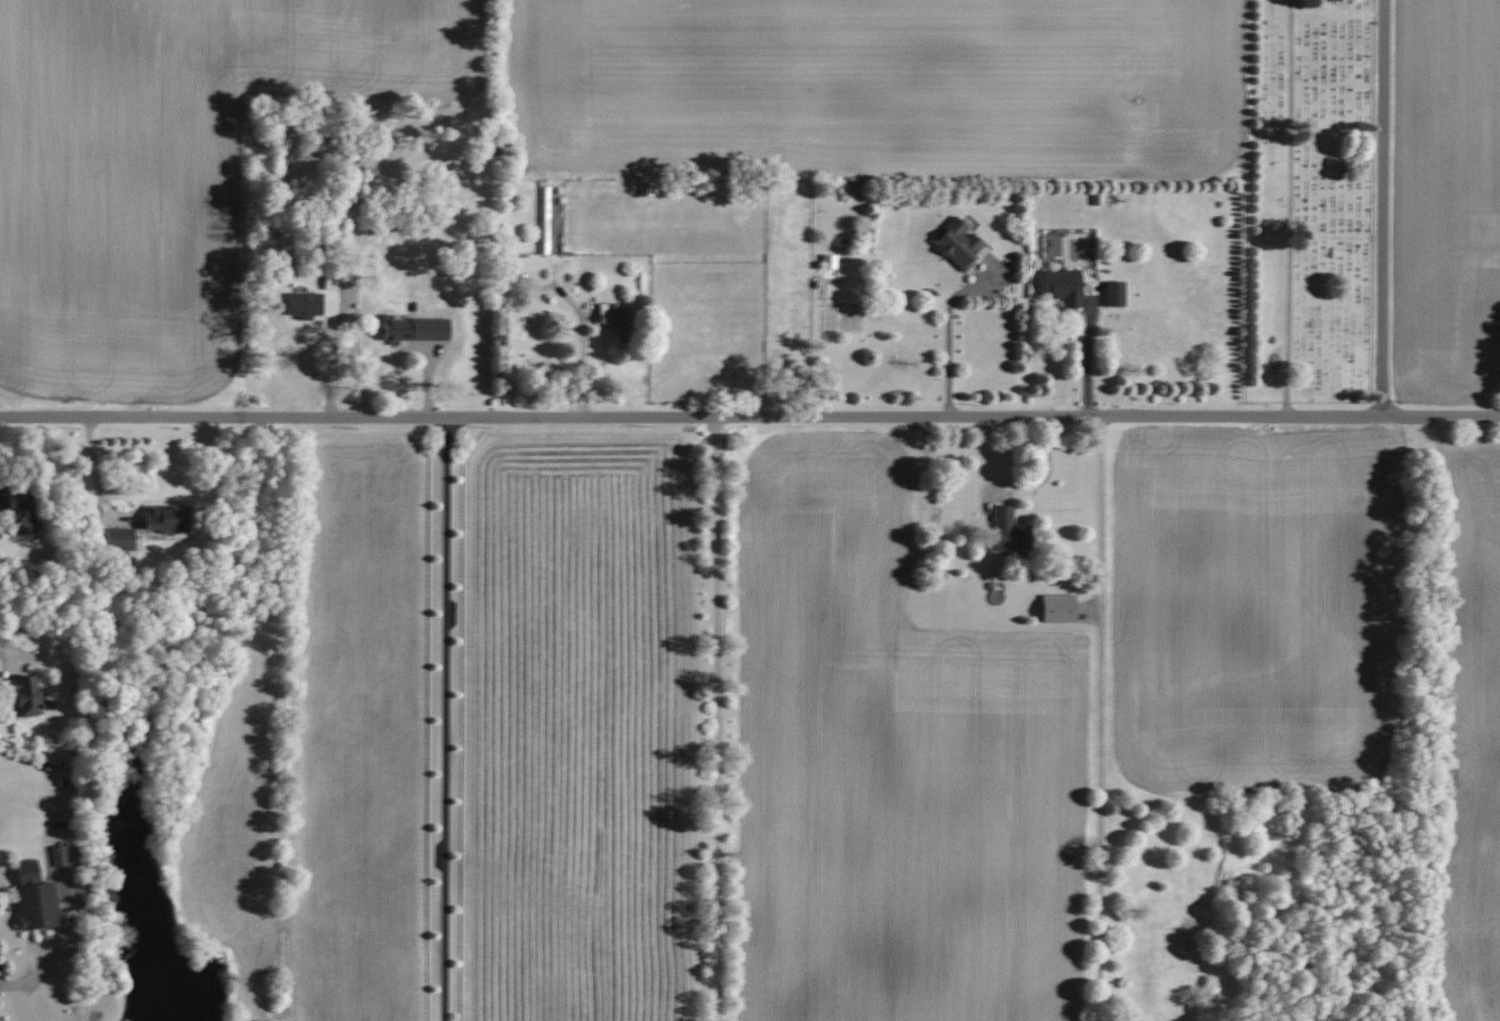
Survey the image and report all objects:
building: (648, 189)
road: (1291, 208)
road: (1383, 208)
building: (544, 220)
building: (952, 244)
building: (825, 261)
building: (334, 282)
building: (1058, 286)
building: (1110, 293)
building: (308, 304)
building: (620, 318)
building: (418, 329)
road: (947, 331)
road: (749, 417)
building: (22, 508)
building: (170, 517)
building: (1001, 529)
building: (123, 538)
building: (1051, 608)
building: (31, 694)
road: (1100, 718)
road: (718, 719)
building: (38, 896)

